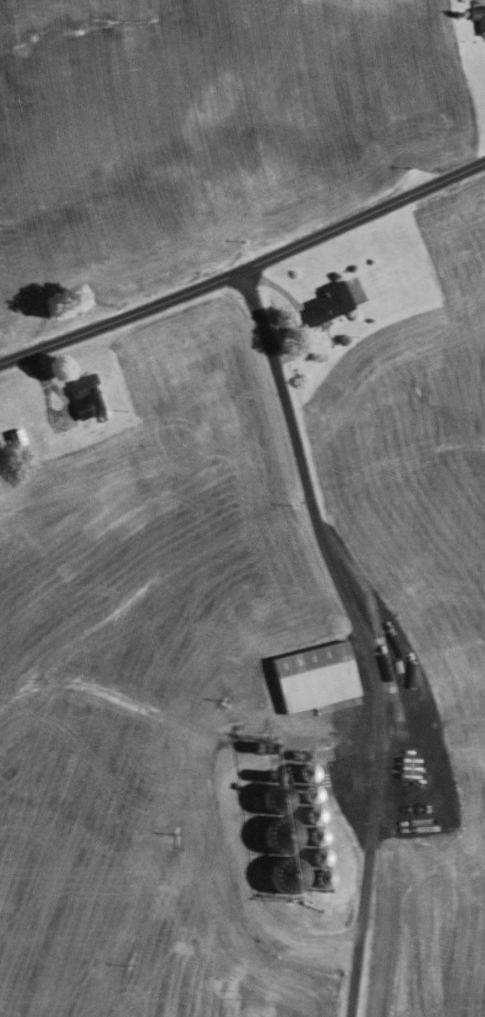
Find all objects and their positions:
building: (479, 19)
road: (244, 268)
building: (325, 306)
road: (302, 313)
building: (86, 396)
road: (66, 403)
building: (11, 439)
road: (348, 608)
building: (315, 678)
road: (343, 729)
building: (307, 773)
silo: (307, 773)
building: (309, 794)
silo: (309, 794)
building: (313, 815)
silo: (313, 815)
building: (315, 836)
silo: (315, 836)
building: (318, 857)
silo: (318, 857)
building: (321, 879)
silo: (321, 879)
road: (353, 987)

